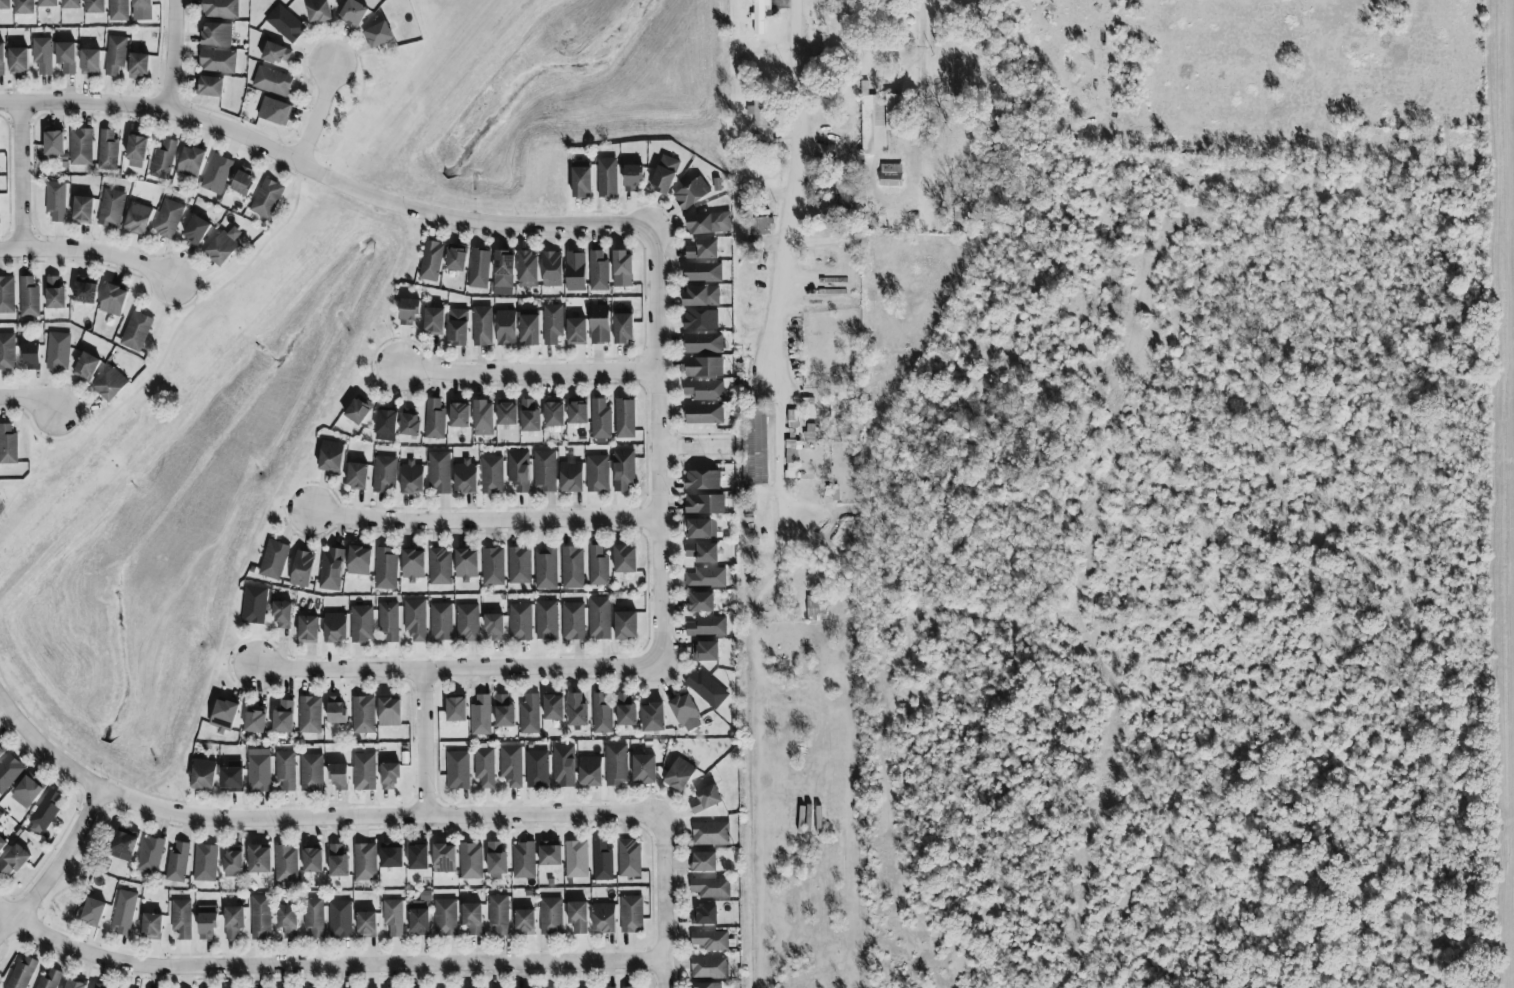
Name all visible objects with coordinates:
building: (48, 3)
building: (142, 3)
building: (5, 4)
building: (72, 4)
building: (95, 6)
building: (25, 7)
building: (220, 9)
building: (119, 10)
building: (319, 11)
building: (353, 14)
building: (759, 16)
building: (285, 24)
building: (216, 34)
building: (378, 35)
road: (928, 45)
road: (170, 54)
building: (277, 54)
building: (43, 55)
building: (115, 55)
building: (67, 57)
building: (2, 59)
building: (18, 60)
building: (218, 61)
building: (91, 62)
building: (139, 66)
building: (273, 81)
building: (209, 87)
building: (275, 111)
road: (349, 111)
road: (313, 112)
building: (877, 119)
building: (762, 120)
road: (935, 125)
building: (54, 143)
building: (81, 147)
building: (108, 150)
building: (136, 152)
building: (163, 160)
building: (191, 162)
road: (298, 171)
building: (216, 174)
road: (322, 175)
building: (664, 175)
building: (890, 175)
road: (19, 176)
building: (607, 177)
building: (632, 178)
building: (243, 181)
building: (581, 181)
road: (804, 183)
building: (691, 193)
building: (841, 194)
building: (267, 198)
building: (56, 200)
building: (111, 208)
building: (83, 209)
building: (138, 219)
building: (167, 219)
building: (764, 222)
building: (708, 223)
building: (196, 231)
building: (221, 248)
building: (702, 249)
road: (89, 251)
road: (183, 256)
building: (456, 257)
building: (431, 261)
building: (479, 268)
building: (551, 268)
building: (527, 269)
building: (622, 269)
building: (575, 271)
building: (597, 271)
building: (503, 272)
building: (702, 272)
building: (85, 290)
building: (55, 293)
building: (7, 295)
building: (701, 296)
building: (28, 297)
building: (113, 299)
building: (409, 312)
building: (433, 320)
building: (700, 320)
building: (552, 324)
building: (599, 324)
building: (482, 326)
building: (623, 326)
building: (457, 327)
building: (505, 328)
building: (529, 330)
building: (136, 331)
building: (576, 331)
building: (703, 343)
building: (7, 351)
building: (58, 351)
road: (165, 351)
building: (30, 356)
building: (87, 366)
building: (703, 367)
road: (524, 373)
building: (111, 384)
building: (704, 390)
road: (29, 397)
building: (358, 410)
building: (577, 411)
building: (507, 412)
building: (703, 413)
building: (553, 414)
building: (459, 415)
building: (529, 416)
building: (483, 418)
building: (624, 418)
building: (434, 419)
building: (600, 419)
road: (26, 421)
building: (409, 422)
building: (386, 424)
road: (54, 441)
building: (8, 445)
road: (655, 445)
building: (754, 448)
road: (691, 449)
building: (331, 456)
building: (791, 457)
building: (518, 470)
building: (623, 470)
building: (544, 471)
building: (438, 472)
building: (597, 473)
building: (385, 474)
building: (491, 474)
building: (356, 475)
building: (570, 475)
building: (465, 476)
building: (412, 477)
building: (702, 480)
building: (704, 504)
road: (482, 521)
building: (700, 529)
building: (702, 552)
building: (624, 559)
building: (274, 560)
building: (359, 560)
building: (466, 564)
building: (413, 565)
building: (519, 565)
building: (492, 566)
building: (597, 566)
building: (440, 567)
building: (572, 567)
building: (385, 568)
building: (545, 568)
building: (302, 569)
building: (331, 569)
building: (706, 578)
building: (700, 602)
building: (254, 605)
building: (282, 614)
building: (599, 618)
building: (415, 619)
building: (546, 620)
building: (389, 621)
building: (572, 621)
building: (441, 622)
building: (467, 622)
building: (520, 622)
building: (361, 623)
building: (625, 625)
building: (707, 626)
building: (335, 627)
building: (495, 627)
building: (308, 628)
building: (705, 651)
road: (456, 669)
building: (706, 688)
building: (553, 707)
building: (456, 709)
building: (625, 709)
building: (336, 710)
building: (576, 710)
building: (503, 711)
building: (389, 712)
building: (685, 712)
building: (309, 714)
building: (363, 714)
building: (529, 714)
building: (600, 714)
building: (224, 715)
building: (481, 716)
building: (283, 717)
building: (652, 717)
building: (255, 720)
road: (422, 743)
building: (2, 748)
building: (616, 764)
building: (485, 765)
building: (511, 765)
building: (563, 765)
building: (537, 768)
building: (457, 769)
building: (644, 769)
building: (258, 770)
building: (285, 770)
building: (364, 771)
building: (589, 771)
building: (9, 772)
building: (311, 772)
building: (203, 774)
building: (679, 775)
building: (389, 776)
building: (338, 777)
building: (232, 780)
building: (26, 792)
building: (705, 799)
building: (44, 812)
road: (310, 818)
building: (710, 833)
building: (2, 843)
building: (123, 846)
building: (549, 853)
building: (150, 855)
building: (392, 857)
building: (418, 857)
building: (444, 858)
building: (629, 858)
building: (259, 859)
building: (496, 859)
building: (576, 859)
building: (14, 860)
building: (312, 860)
building: (523, 860)
building: (338, 861)
building: (471, 861)
building: (702, 861)
building: (365, 862)
building: (602, 862)
road: (55, 863)
building: (177, 863)
building: (205, 863)
building: (286, 863)
building: (233, 864)
building: (710, 887)
road: (661, 902)
building: (93, 912)
building: (124, 913)
building: (420, 914)
building: (498, 914)
building: (631, 914)
building: (550, 916)
building: (703, 916)
building: (259, 917)
building: (313, 917)
building: (393, 917)
building: (445, 917)
building: (577, 917)
building: (181, 918)
building: (472, 918)
building: (603, 918)
building: (340, 919)
building: (233, 921)
building: (287, 921)
building: (207, 922)
building: (524, 922)
building: (152, 924)
building: (366, 924)
building: (711, 940)
road: (322, 966)
building: (709, 967)
building: (22, 972)
building: (49, 979)
building: (74, 984)
building: (707, 985)
building: (628, 987)

